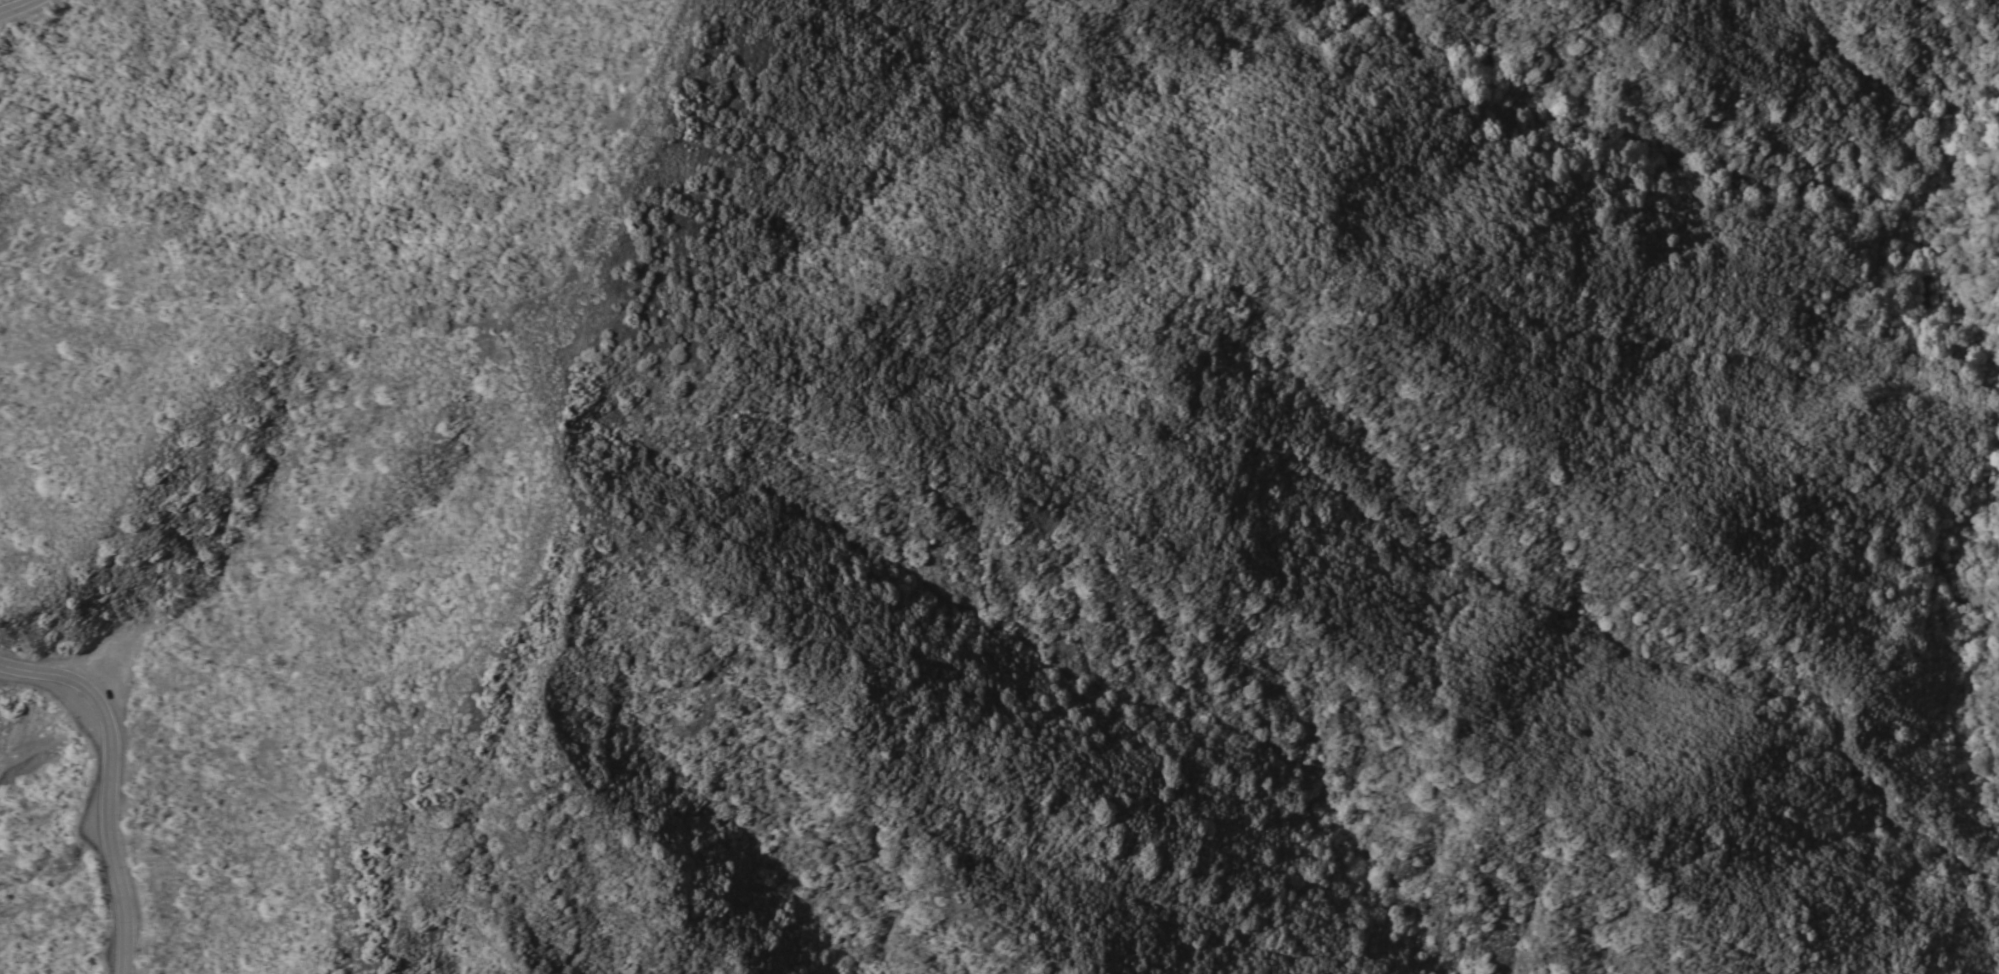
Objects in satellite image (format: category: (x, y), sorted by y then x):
road: (13, 6)
road: (647, 167)
road: (467, 658)
road: (107, 783)

